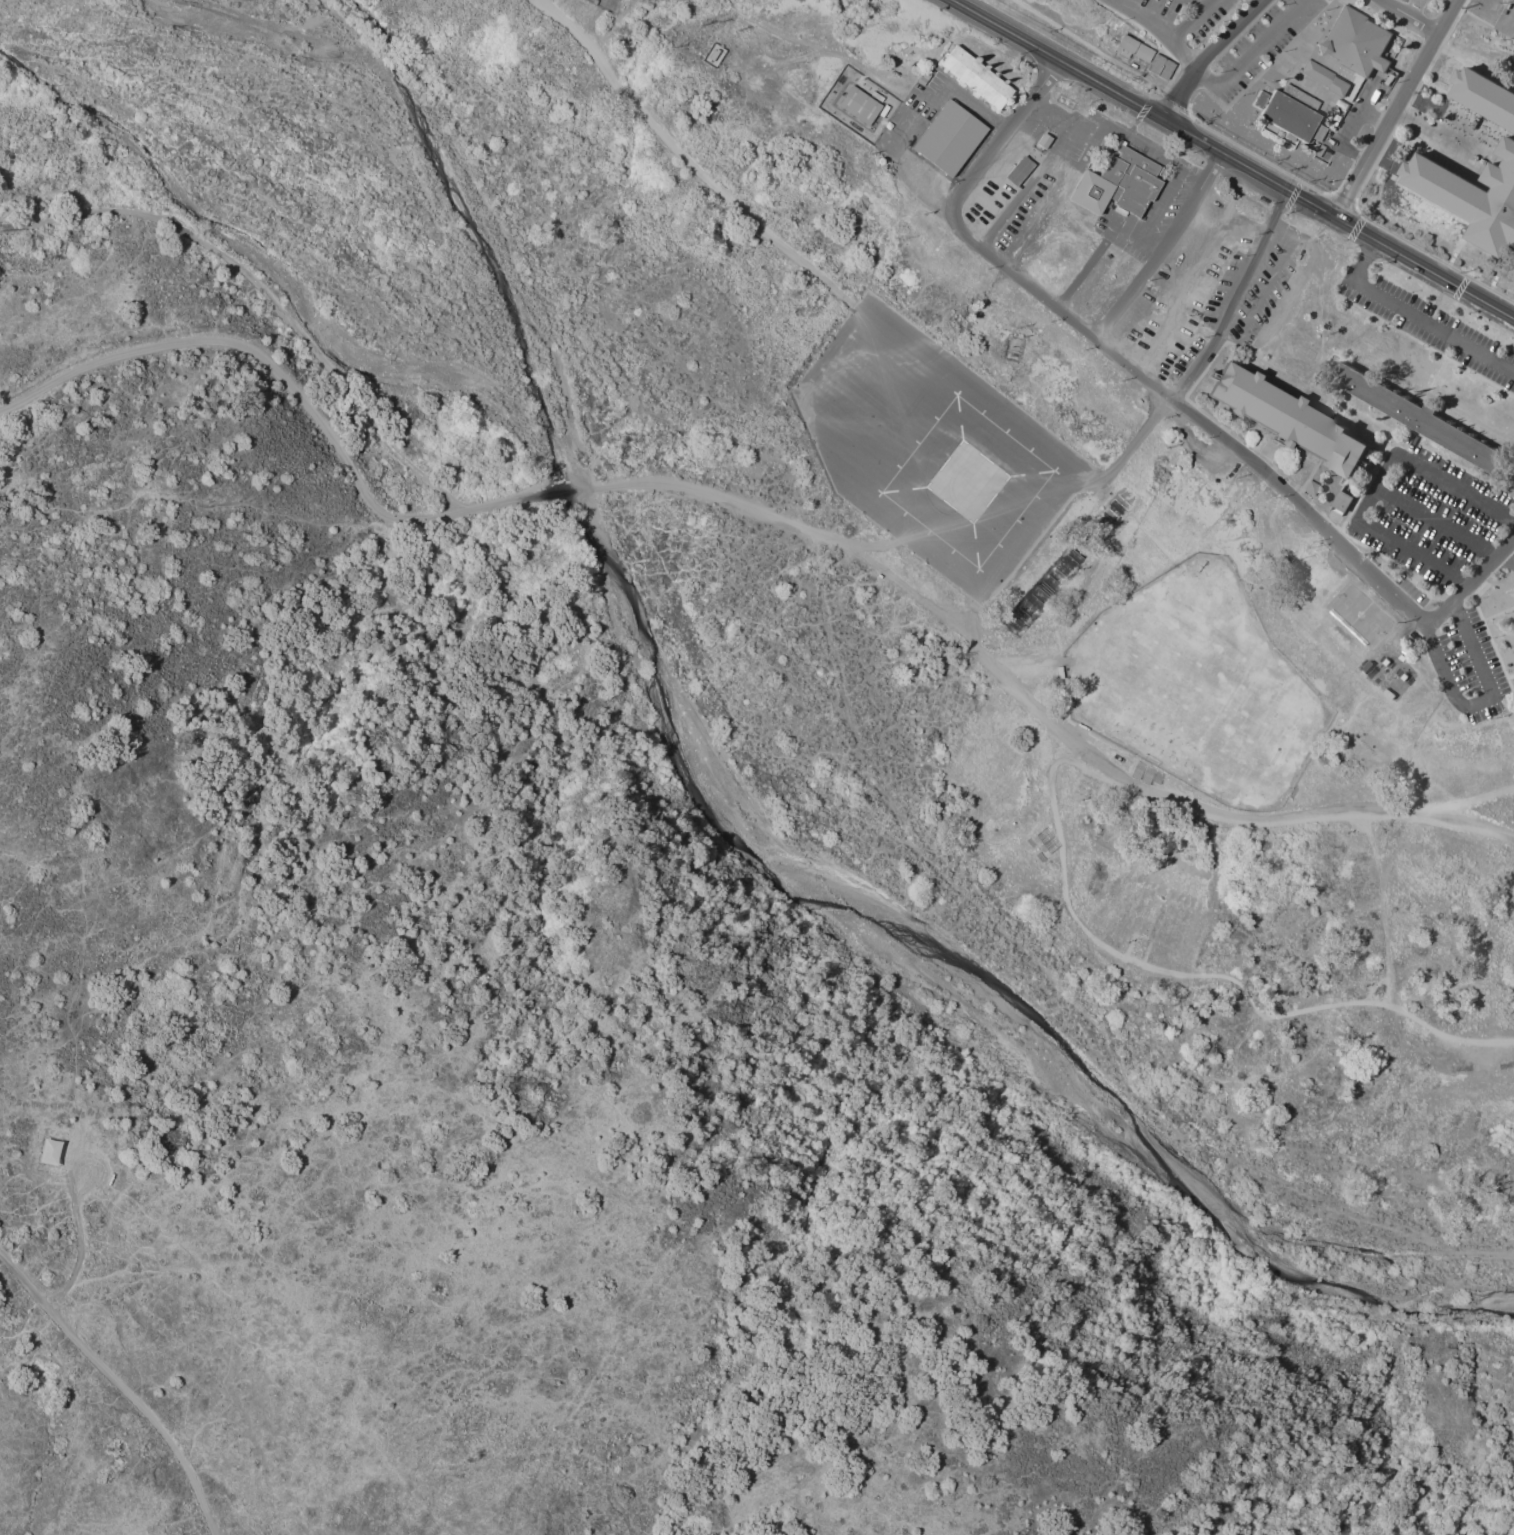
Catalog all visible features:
road: (1195, 4)
road: (1202, 10)
road: (981, 18)
road: (1409, 19)
road: (1153, 33)
building: (1354, 42)
road: (1180, 46)
building: (1132, 50)
road: (1253, 55)
road: (1208, 56)
road: (1087, 77)
building: (1350, 77)
building: (974, 78)
building: (1322, 79)
building: (858, 106)
road: (1399, 109)
road: (976, 110)
building: (1287, 110)
road: (1193, 137)
building: (947, 139)
building: (1508, 141)
building: (1041, 142)
building: (1116, 185)
road: (1369, 237)
road: (817, 243)
road: (1162, 247)
road: (267, 295)
road: (1120, 356)
road: (298, 400)
road: (1177, 401)
building: (1412, 415)
building: (1286, 421)
road: (1384, 490)
building: (1342, 502)
road: (1438, 526)
road: (1471, 581)
road: (1084, 599)
road: (990, 666)
road: (1486, 698)
road: (1466, 830)
road: (1391, 871)
building: (48, 1154)
road: (121, 1389)

